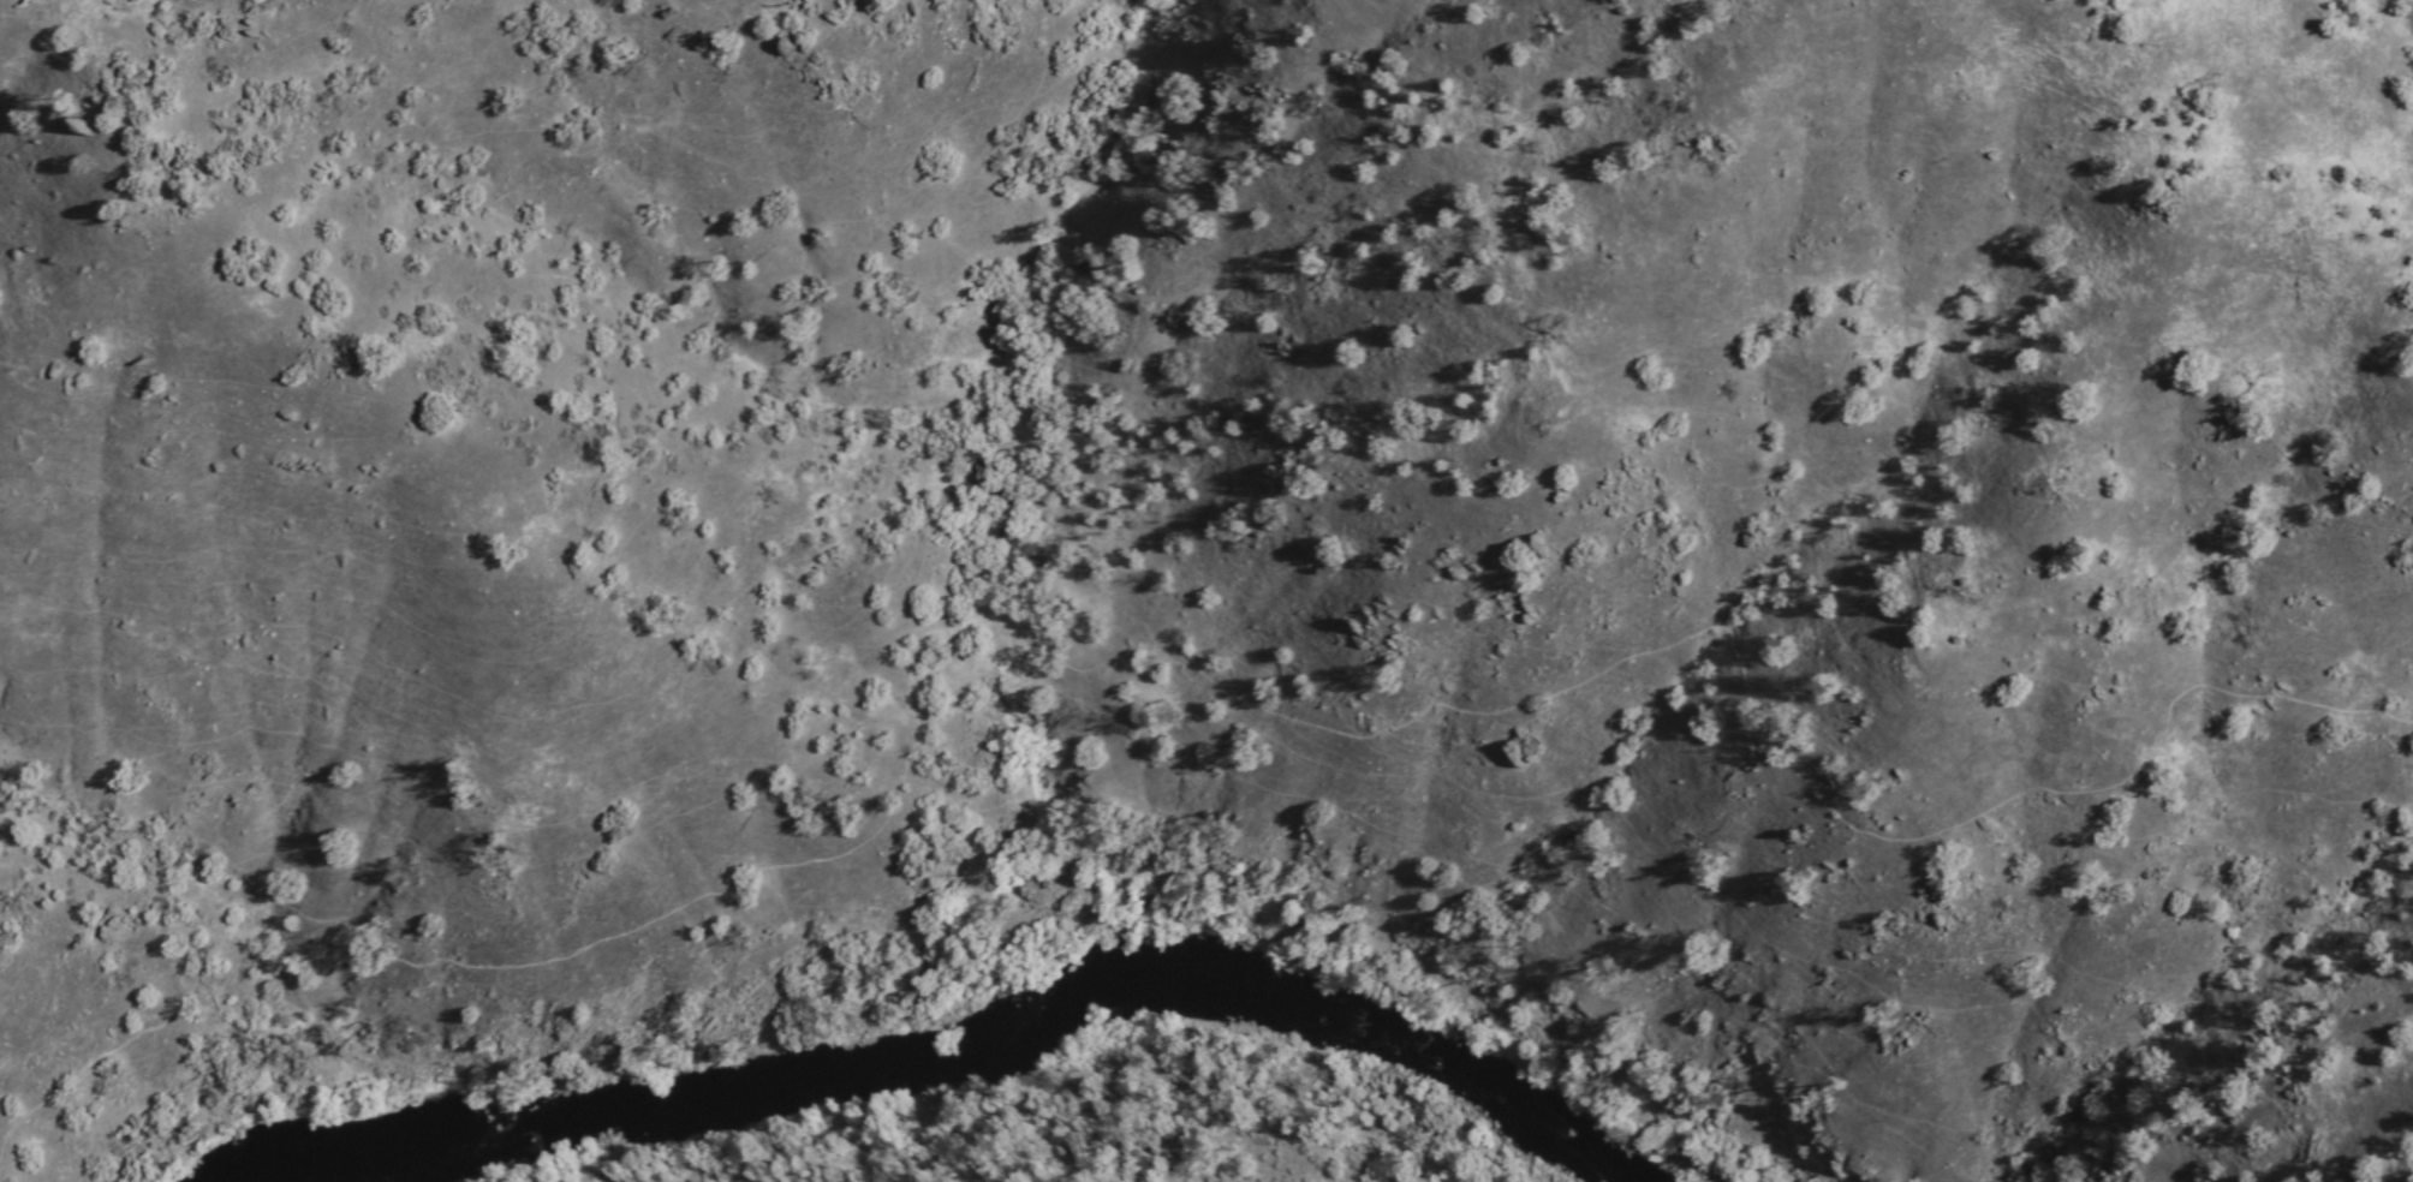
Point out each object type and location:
road: (1169, 662)
river: (1342, 1033)
river: (720, 1106)
river: (299, 1178)

